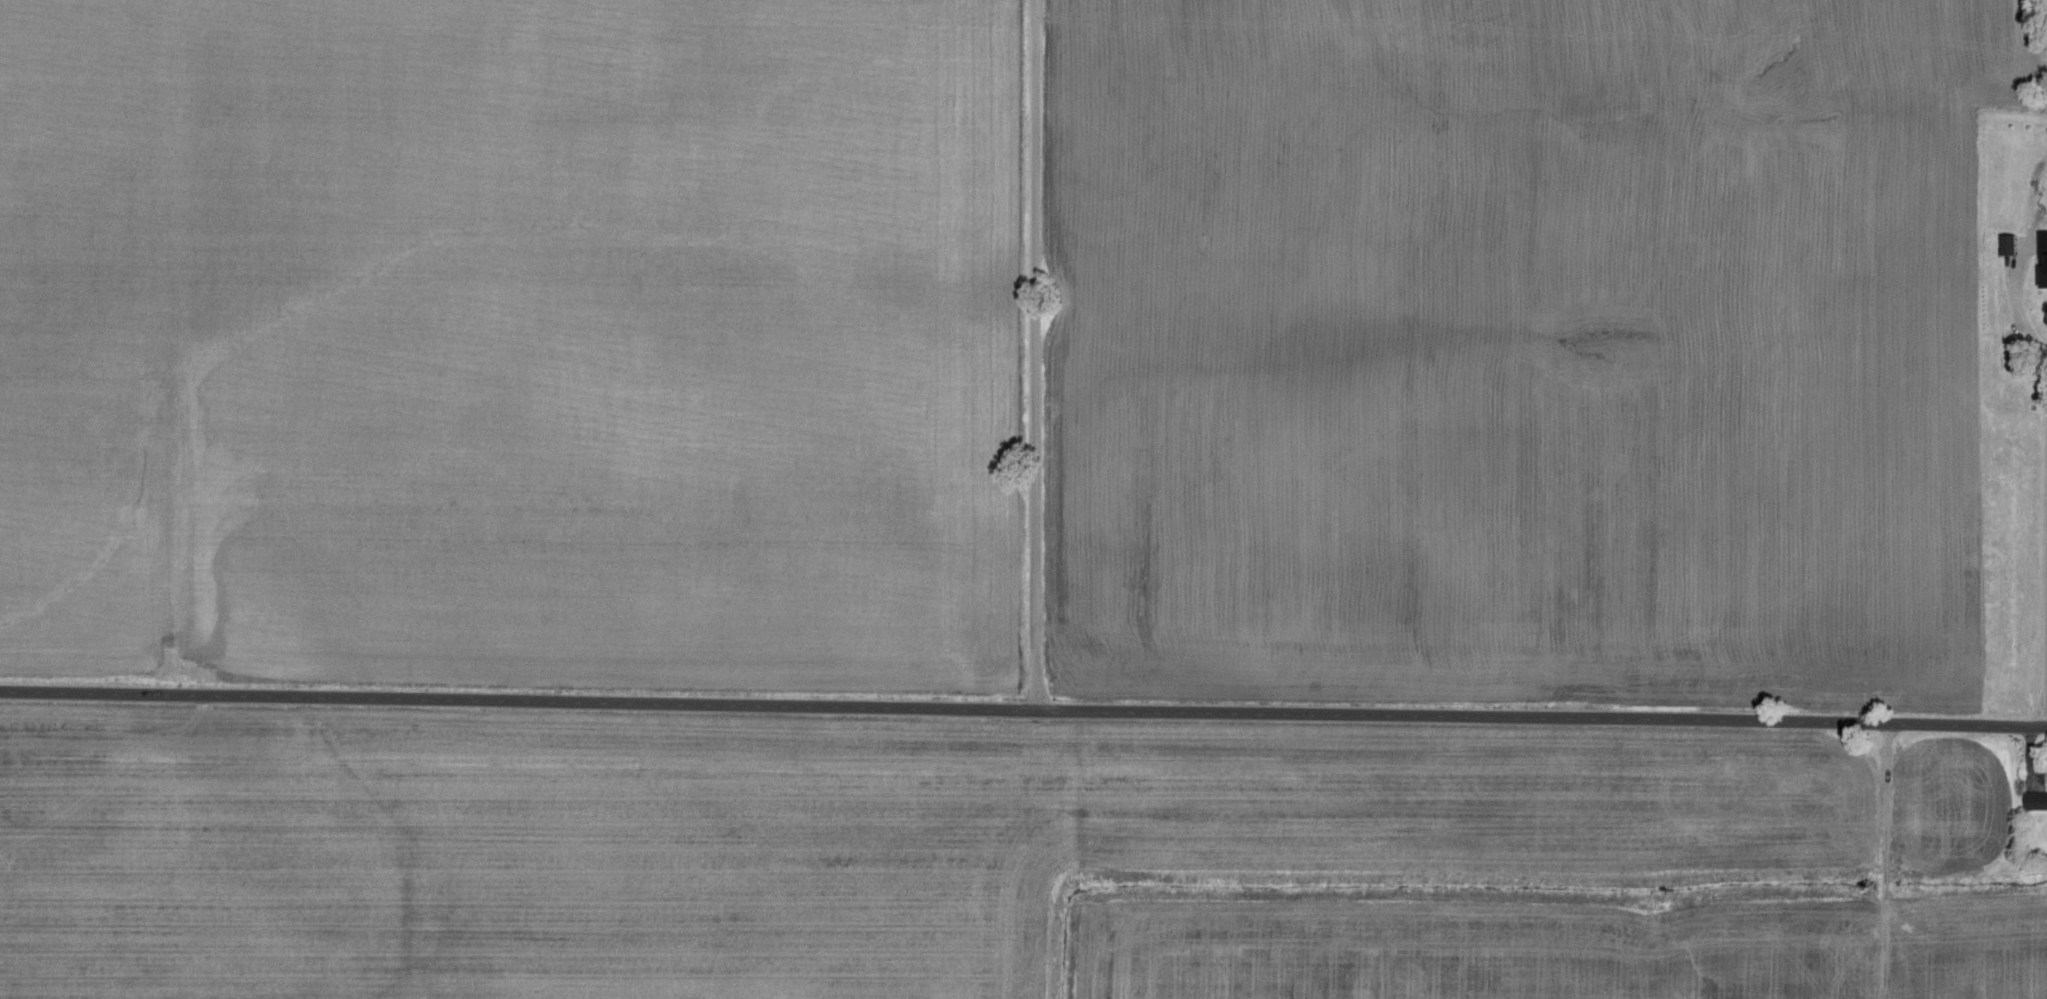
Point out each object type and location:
building: (2045, 262)
road: (2023, 306)
road: (1033, 354)
road: (2043, 612)
road: (1023, 708)
building: (2037, 801)

